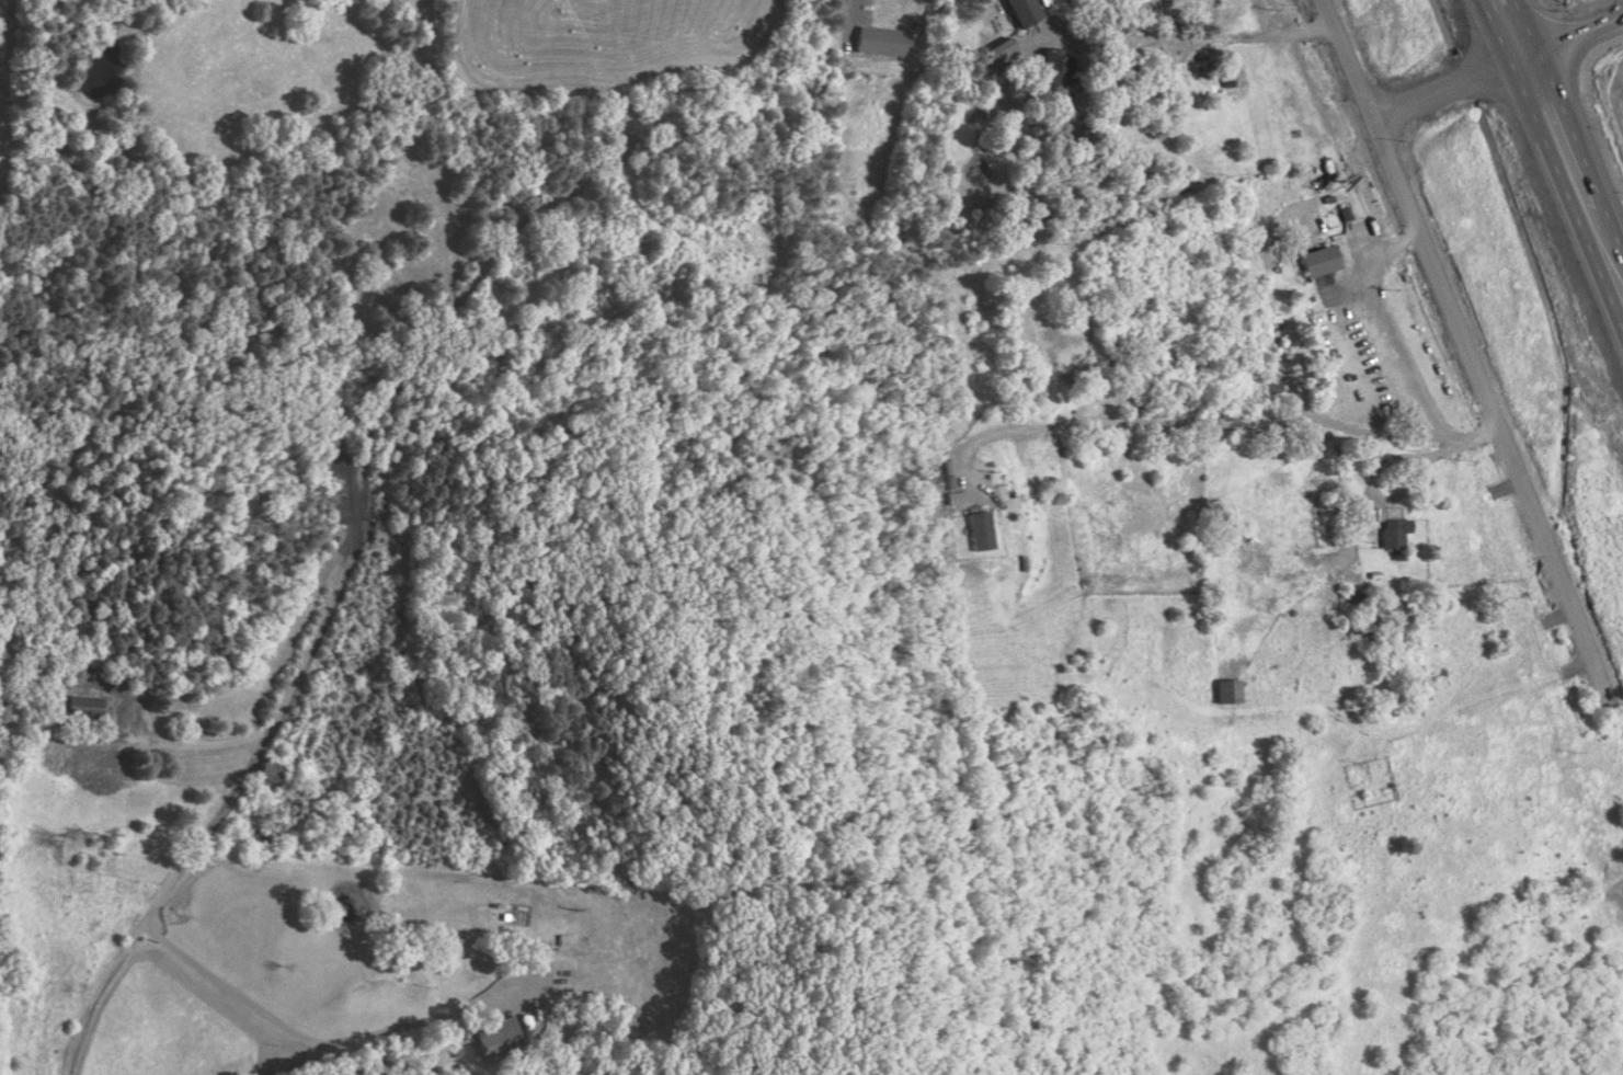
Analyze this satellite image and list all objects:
building: (1024, 12)
road: (846, 19)
road: (1210, 39)
building: (882, 42)
building: (999, 53)
building: (1058, 67)
road: (1504, 72)
road: (1567, 133)
road: (1552, 170)
building: (1319, 261)
road: (1611, 276)
road: (1383, 322)
road: (1479, 353)
road: (1249, 430)
road: (368, 456)
building: (958, 498)
building: (981, 530)
building: (1392, 533)
building: (1226, 691)
building: (85, 708)
road: (184, 745)
building: (270, 771)
building: (496, 1038)
road: (312, 1041)

